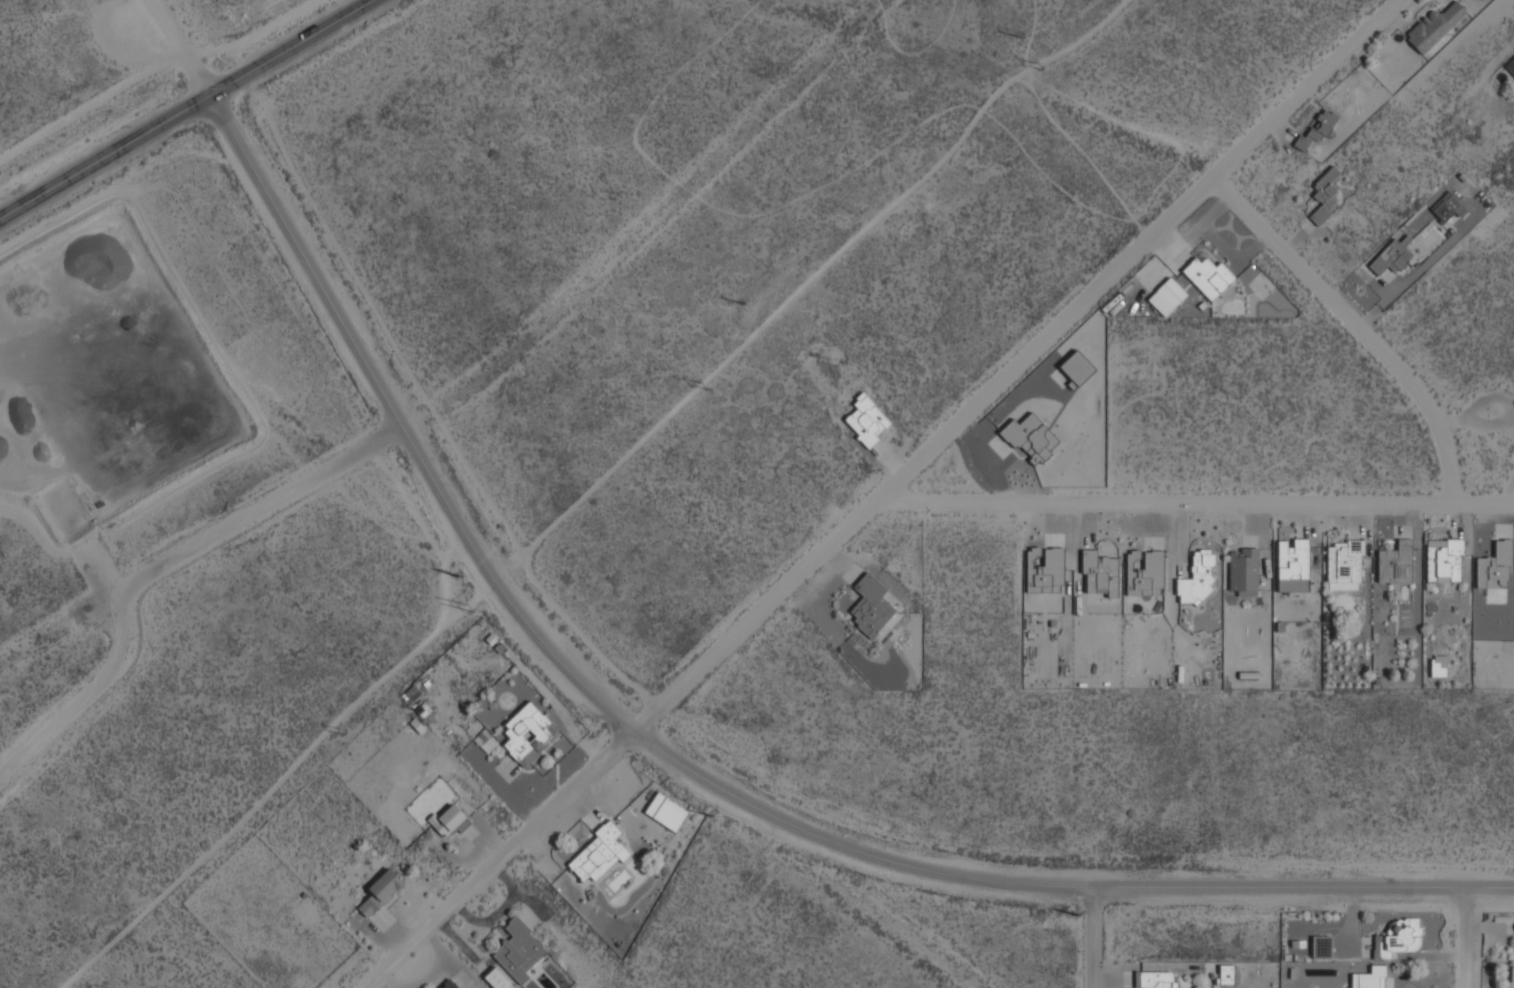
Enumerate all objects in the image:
building: (1433, 27)
power tower: (1022, 40)
road: (188, 48)
power tower: (1037, 67)
building: (1510, 67)
road: (94, 103)
road: (190, 113)
building: (1325, 193)
building: (1444, 207)
building: (1390, 258)
building: (1208, 277)
building: (1166, 297)
power tower: (742, 303)
road: (1359, 331)
building: (1075, 368)
power tower: (702, 386)
building: (866, 421)
building: (1030, 438)
road: (885, 488)
road: (1195, 500)
road: (266, 503)
building: (1444, 559)
building: (1395, 564)
building: (1292, 566)
building: (1343, 566)
building: (1044, 571)
building: (1243, 572)
building: (1099, 574)
power tower: (455, 575)
building: (1197, 578)
road: (130, 589)
building: (870, 606)
power tower: (468, 608)
building: (1438, 667)
power tower: (339, 730)
building: (527, 734)
road: (700, 769)
power tower: (708, 815)
building: (448, 821)
building: (597, 855)
building: (380, 892)
power tower: (1072, 914)
building: (1398, 939)
road: (1470, 940)
road: (1093, 942)
building: (1320, 947)
building: (513, 957)
building: (1225, 975)
building: (1371, 978)
building: (1155, 980)
building: (447, 984)

